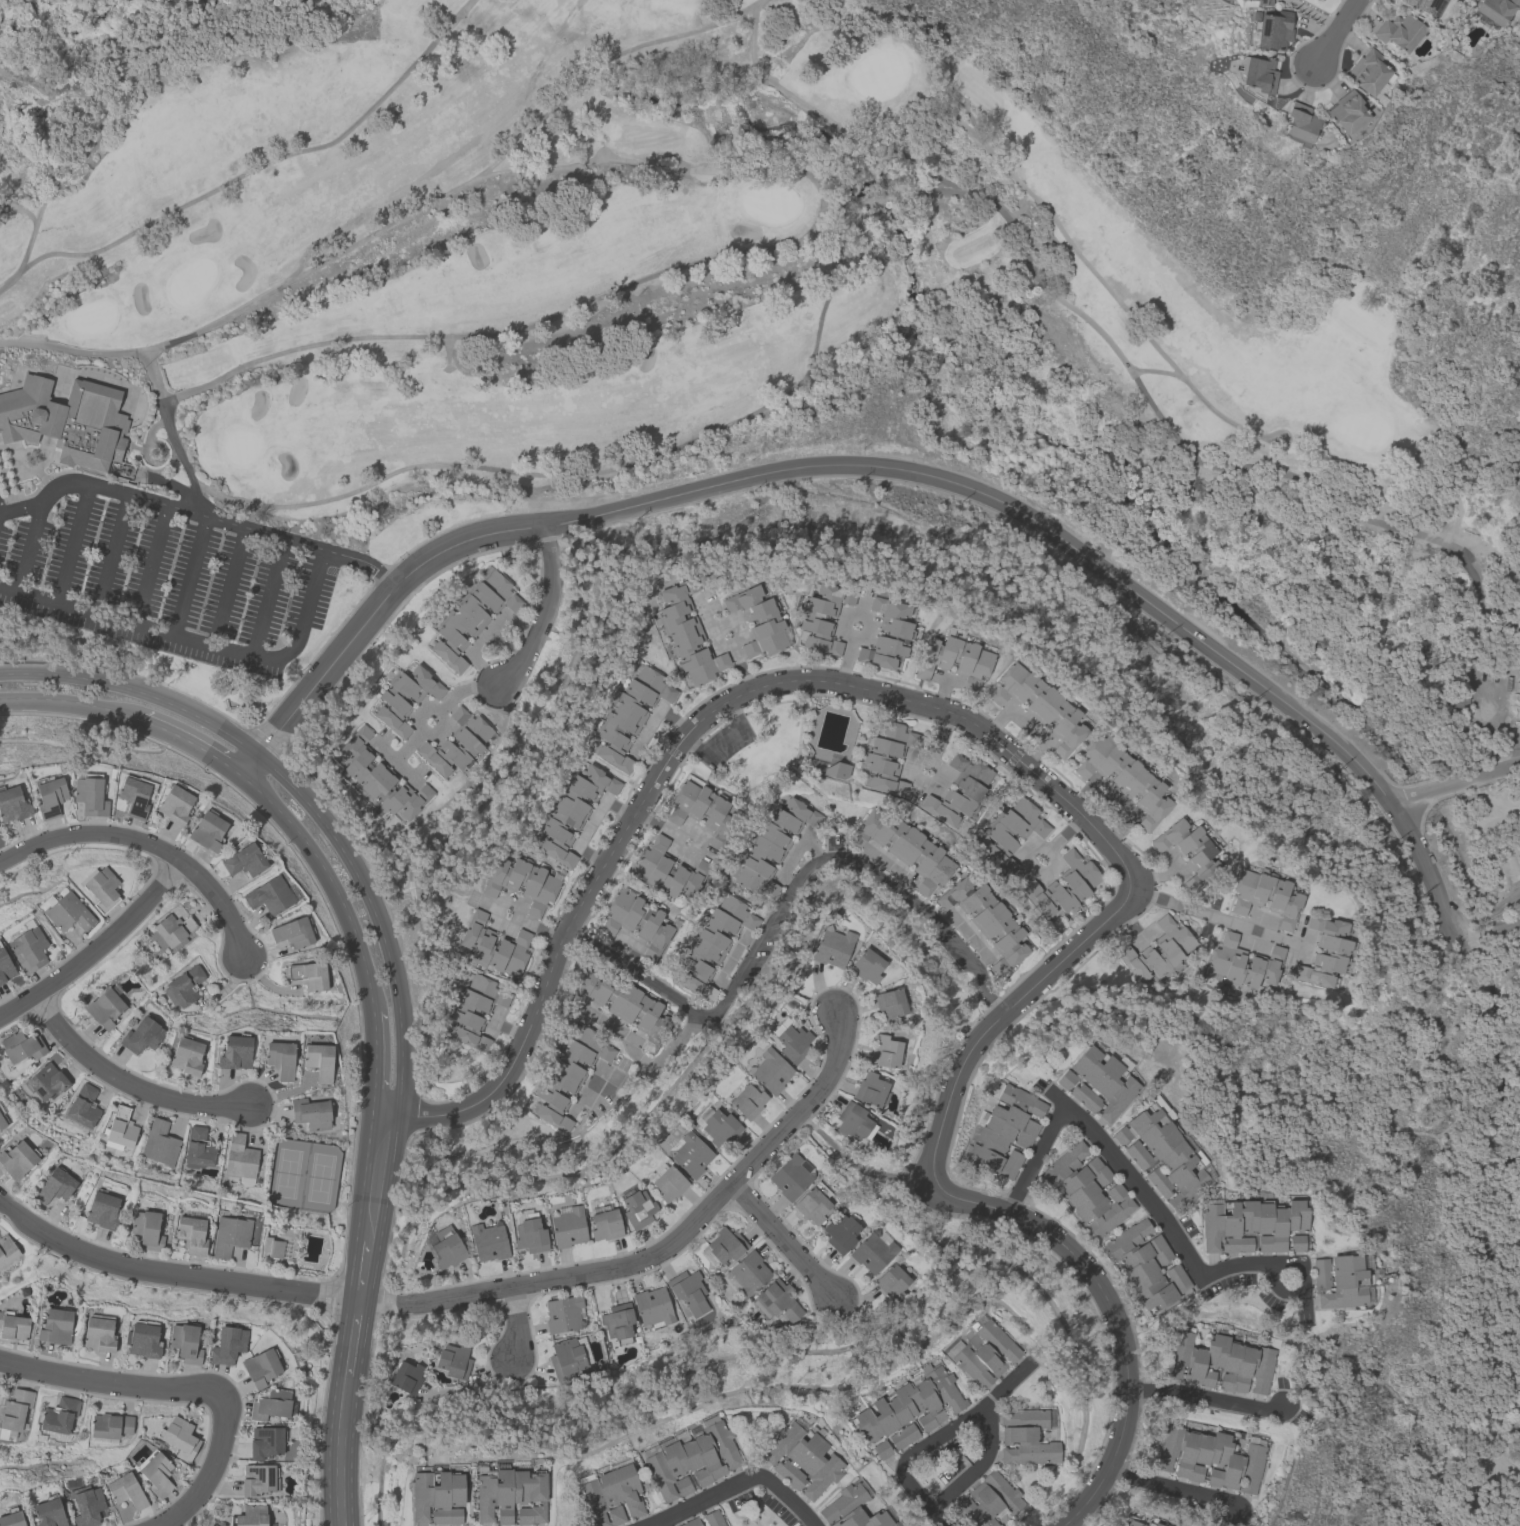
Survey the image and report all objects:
building: (1262, 2)
building: (1423, 6)
building: (1495, 10)
building: (1274, 31)
building: (1398, 32)
road: (1339, 33)
building: (1369, 75)
building: (1255, 76)
building: (1346, 113)
building: (1299, 125)
road: (261, 163)
road: (567, 163)
road: (20, 207)
road: (397, 218)
road: (26, 247)
road: (1029, 255)
park: (633, 257)
road: (1110, 290)
road: (483, 334)
road: (1156, 370)
building: (67, 421)
road: (170, 432)
road: (650, 457)
road: (199, 514)
road: (73, 543)
road: (29, 546)
road: (110, 552)
road: (1082, 555)
road: (149, 563)
parking lot: (163, 572)
road: (189, 574)
road: (229, 585)
road: (268, 596)
road: (543, 611)
road: (374, 612)
building: (471, 616)
building: (821, 619)
building: (757, 624)
road: (844, 634)
road: (484, 636)
building: (686, 636)
building: (887, 638)
road: (197, 639)
park: (65, 642)
road: (724, 645)
road: (847, 659)
building: (955, 662)
road: (741, 666)
road: (80, 668)
road: (948, 678)
road: (943, 693)
building: (405, 696)
road: (70, 701)
building: (1039, 707)
building: (629, 713)
road: (439, 715)
road: (212, 717)
road: (692, 724)
road: (1028, 724)
road: (647, 727)
road: (192, 742)
building: (456, 743)
road: (407, 745)
building: (876, 757)
road: (394, 760)
building: (837, 770)
building: (379, 775)
road: (940, 778)
building: (1124, 781)
road: (1456, 785)
building: (970, 790)
road: (1485, 795)
building: (88, 796)
building: (135, 797)
building: (49, 798)
road: (1114, 798)
building: (697, 805)
building: (174, 806)
building: (12, 807)
building: (571, 810)
road: (588, 822)
road: (700, 828)
building: (207, 832)
building: (1009, 832)
road: (91, 833)
road: (1492, 840)
building: (771, 845)
building: (905, 846)
road: (796, 849)
building: (1189, 853)
building: (244, 862)
road: (889, 862)
road: (1175, 864)
road: (357, 868)
building: (666, 869)
road: (1048, 874)
road: (1153, 874)
building: (523, 881)
road: (329, 883)
building: (1063, 885)
building: (100, 889)
building: (269, 897)
building: (1266, 898)
road: (906, 899)
road: (220, 908)
road: (1486, 913)
building: (67, 914)
road: (1217, 917)
building: (986, 918)
building: (637, 921)
road: (512, 923)
road: (538, 927)
building: (170, 929)
building: (293, 934)
road: (1489, 935)
road: (968, 937)
road: (628, 939)
road: (94, 943)
building: (493, 943)
building: (712, 944)
building: (832, 945)
road: (1305, 946)
road: (1494, 947)
building: (28, 949)
building: (1158, 950)
building: (1325, 953)
road: (729, 958)
building: (1243, 962)
building: (866, 964)
building: (5, 969)
building: (309, 976)
building: (183, 986)
building: (889, 1003)
building: (625, 1004)
building: (104, 1006)
building: (475, 1008)
road: (696, 1014)
road: (492, 1018)
road: (612, 1023)
road: (508, 1027)
building: (141, 1034)
building: (792, 1040)
building: (21, 1044)
building: (884, 1049)
building: (234, 1050)
building: (186, 1053)
building: (280, 1057)
road: (660, 1057)
building: (319, 1059)
road: (401, 1067)
road: (373, 1068)
road: (610, 1068)
building: (770, 1069)
building: (567, 1075)
building: (46, 1080)
building: (1100, 1080)
road: (124, 1082)
building: (870, 1087)
building: (747, 1099)
building: (83, 1105)
building: (311, 1112)
building: (2, 1120)
building: (853, 1120)
building: (719, 1124)
building: (1004, 1125)
building: (119, 1128)
building: (159, 1143)
building: (198, 1146)
building: (689, 1151)
building: (1163, 1152)
building: (17, 1157)
road: (1034, 1157)
building: (240, 1159)
building: (1010, 1164)
building: (791, 1176)
road: (378, 1181)
building: (668, 1181)
building: (54, 1184)
building: (1088, 1188)
park: (1418, 1201)
building: (812, 1203)
road: (975, 1203)
building: (637, 1206)
building: (102, 1208)
building: (605, 1223)
building: (1251, 1224)
building: (568, 1225)
building: (146, 1228)
building: (530, 1232)
building: (191, 1233)
building: (840, 1233)
building: (230, 1234)
road: (783, 1238)
building: (488, 1239)
road: (1179, 1241)
building: (1296, 1242)
building: (447, 1245)
building: (722, 1245)
building: (272, 1246)
road: (663, 1248)
building: (7, 1249)
building: (872, 1252)
building: (1143, 1264)
road: (367, 1271)
building: (747, 1272)
building: (1321, 1273)
road: (173, 1277)
building: (1177, 1277)
building: (891, 1281)
building: (1345, 1281)
road: (1278, 1288)
building: (688, 1290)
building: (777, 1300)
building: (652, 1306)
building: (563, 1313)
building: (618, 1321)
road: (516, 1324)
building: (13, 1325)
building: (55, 1325)
building: (98, 1331)
road: (355, 1337)
building: (142, 1338)
building: (185, 1342)
building: (227, 1343)
building: (982, 1350)
building: (568, 1356)
building: (453, 1360)
building: (1218, 1361)
building: (261, 1365)
building: (406, 1375)
road: (1009, 1379)
road: (108, 1381)
road: (472, 1389)
road: (1493, 1390)
road: (345, 1397)
road: (1205, 1398)
building: (272, 1403)
building: (908, 1406)
building: (14, 1410)
road: (975, 1410)
building: (59, 1414)
building: (110, 1424)
building: (903, 1435)
building: (179, 1436)
building: (1025, 1437)
building: (265, 1441)
building: (690, 1456)
building: (801, 1457)
building: (1211, 1457)
building: (156, 1471)
road: (211, 1472)
road: (340, 1473)
building: (258, 1478)
road: (735, 1484)
road: (1173, 1487)
building: (126, 1489)
building: (611, 1493)
building: (511, 1494)
building: (437, 1495)
building: (987, 1499)
building: (87, 1504)
building: (851, 1509)
building: (48, 1512)
building: (250, 1516)
road: (936, 1517)
building: (11, 1518)
building: (712, 1518)
building: (689, 1522)
building: (1133, 1522)
building: (1152, 1523)

